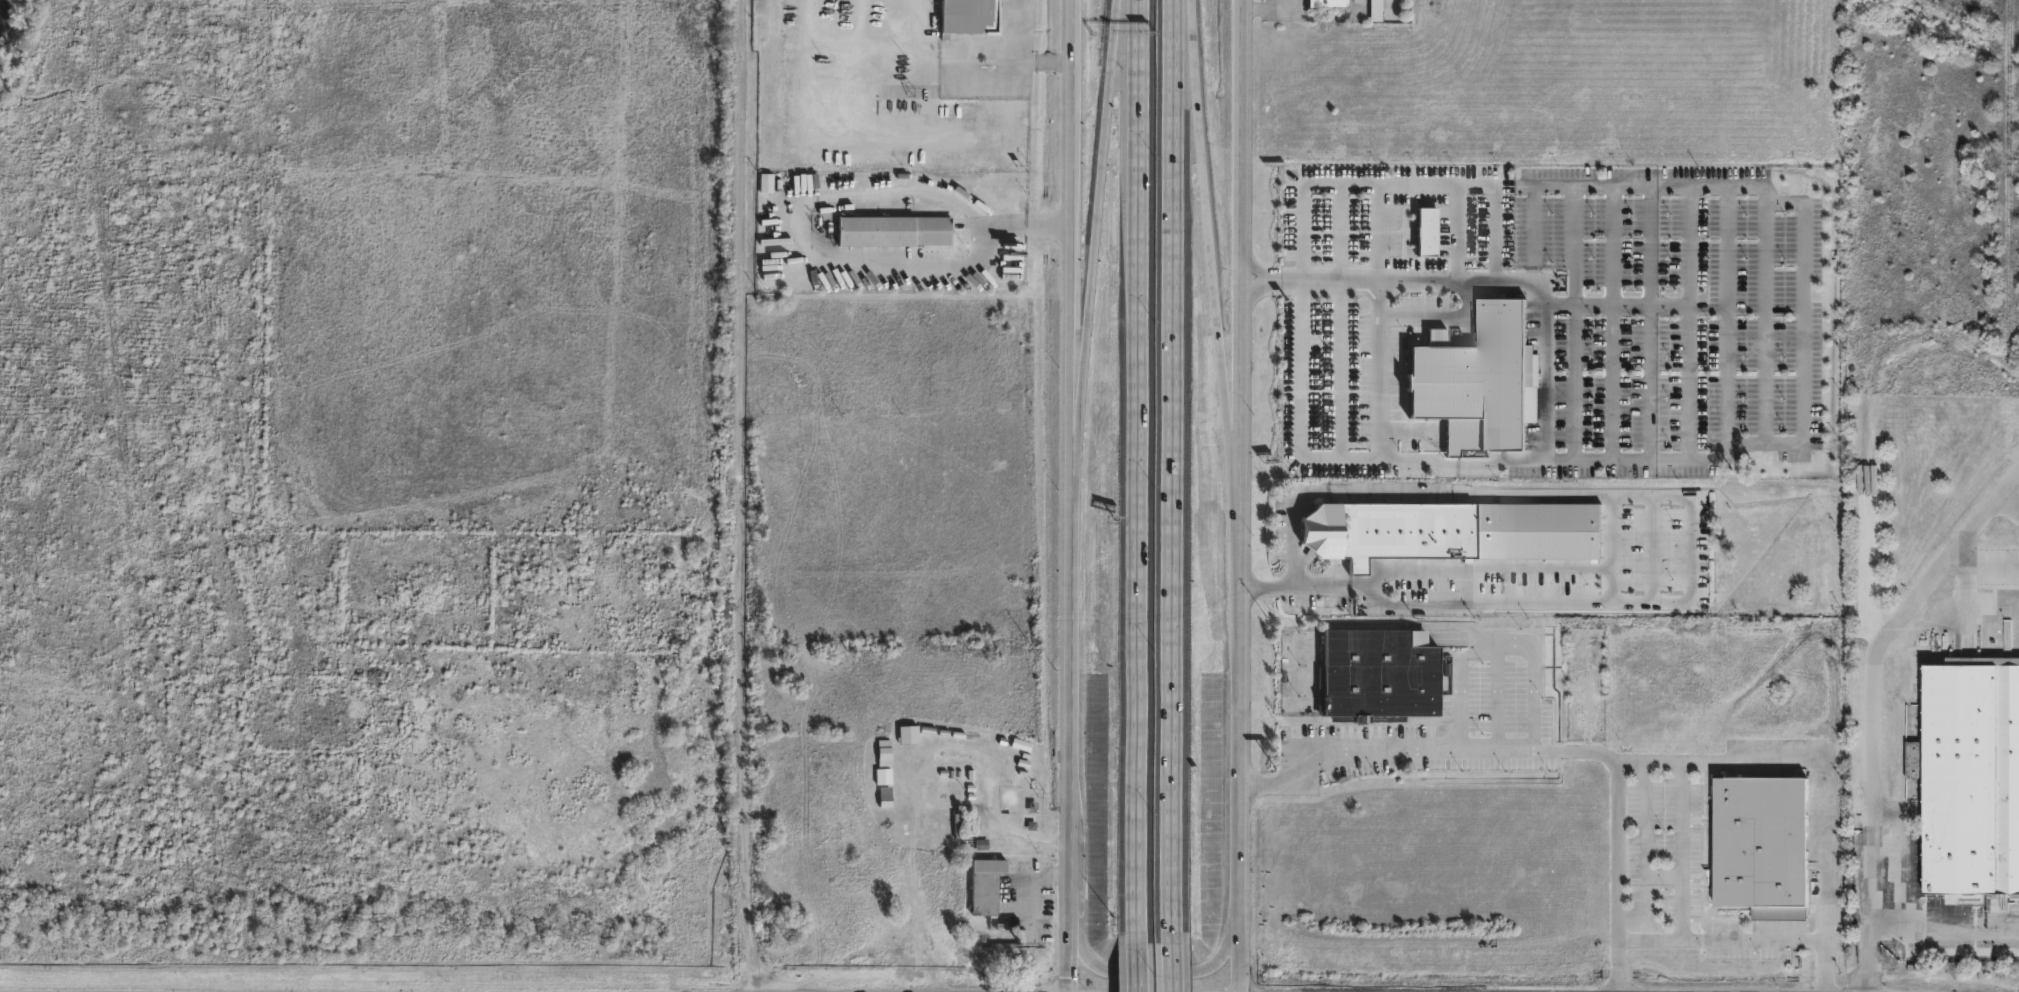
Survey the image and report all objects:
building: (1330, 4)
building: (1378, 10)
road: (1264, 11)
building: (970, 18)
railway: (2008, 154)
road: (1403, 184)
road: (1594, 184)
road: (1015, 218)
road: (1380, 232)
road: (1457, 232)
building: (895, 233)
road: (1208, 235)
road: (1094, 240)
road: (802, 269)
road: (1765, 316)
road: (1726, 320)
road: (1438, 321)
road: (1340, 323)
road: (1379, 371)
building: (1267, 373)
road: (1544, 379)
road: (1575, 382)
road: (1613, 383)
road: (1648, 384)
building: (1476, 386)
road: (1875, 425)
road: (1689, 456)
road: (1406, 462)
road: (1138, 466)
road: (1174, 466)
road: (1067, 495)
road: (1237, 495)
road: (742, 496)
building: (1447, 533)
road: (1689, 540)
building: (1966, 547)
road: (1603, 549)
road: (1480, 572)
road: (1500, 642)
building: (1914, 673)
building: (1381, 676)
road: (1869, 702)
building: (388, 715)
building: (909, 734)
building: (996, 746)
road: (1424, 752)
building: (883, 756)
road: (1823, 767)
building: (961, 778)
building: (1974, 779)
building: (886, 780)
building: (957, 825)
road: (1644, 836)
building: (916, 837)
building: (981, 843)
building: (1758, 848)
road: (1903, 850)
road: (1681, 851)
road: (1028, 881)
building: (984, 885)
road: (1915, 923)
building: (998, 951)
road: (1137, 962)
road: (1171, 962)
road: (1615, 967)
road: (1827, 967)
road: (1151, 973)

